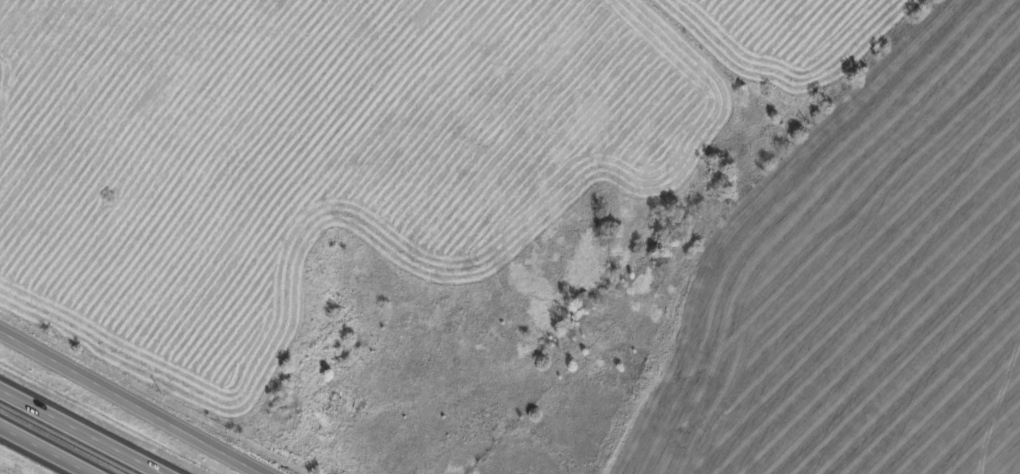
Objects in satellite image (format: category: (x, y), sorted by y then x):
road: (133, 401)
road: (81, 431)
road: (45, 450)

